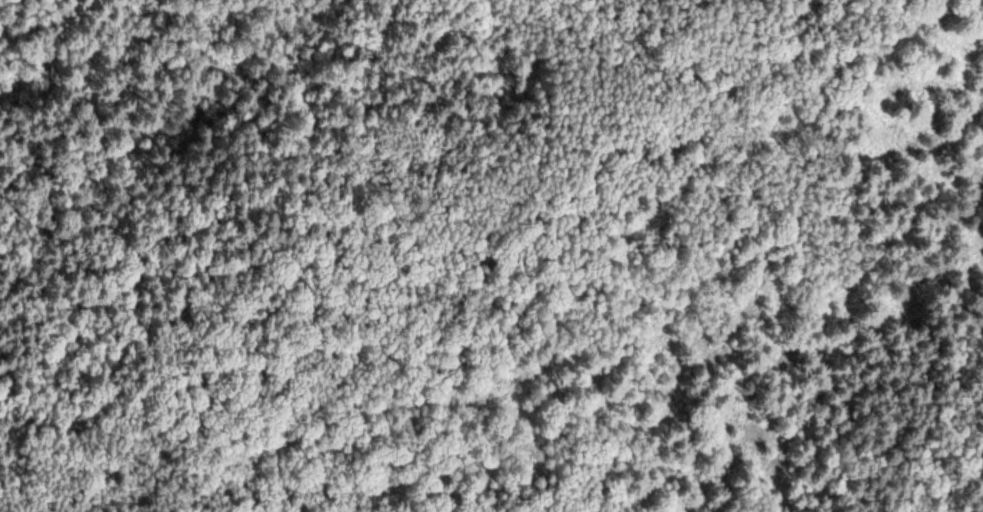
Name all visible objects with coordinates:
road: (953, 7)
road: (148, 12)
road: (423, 322)

